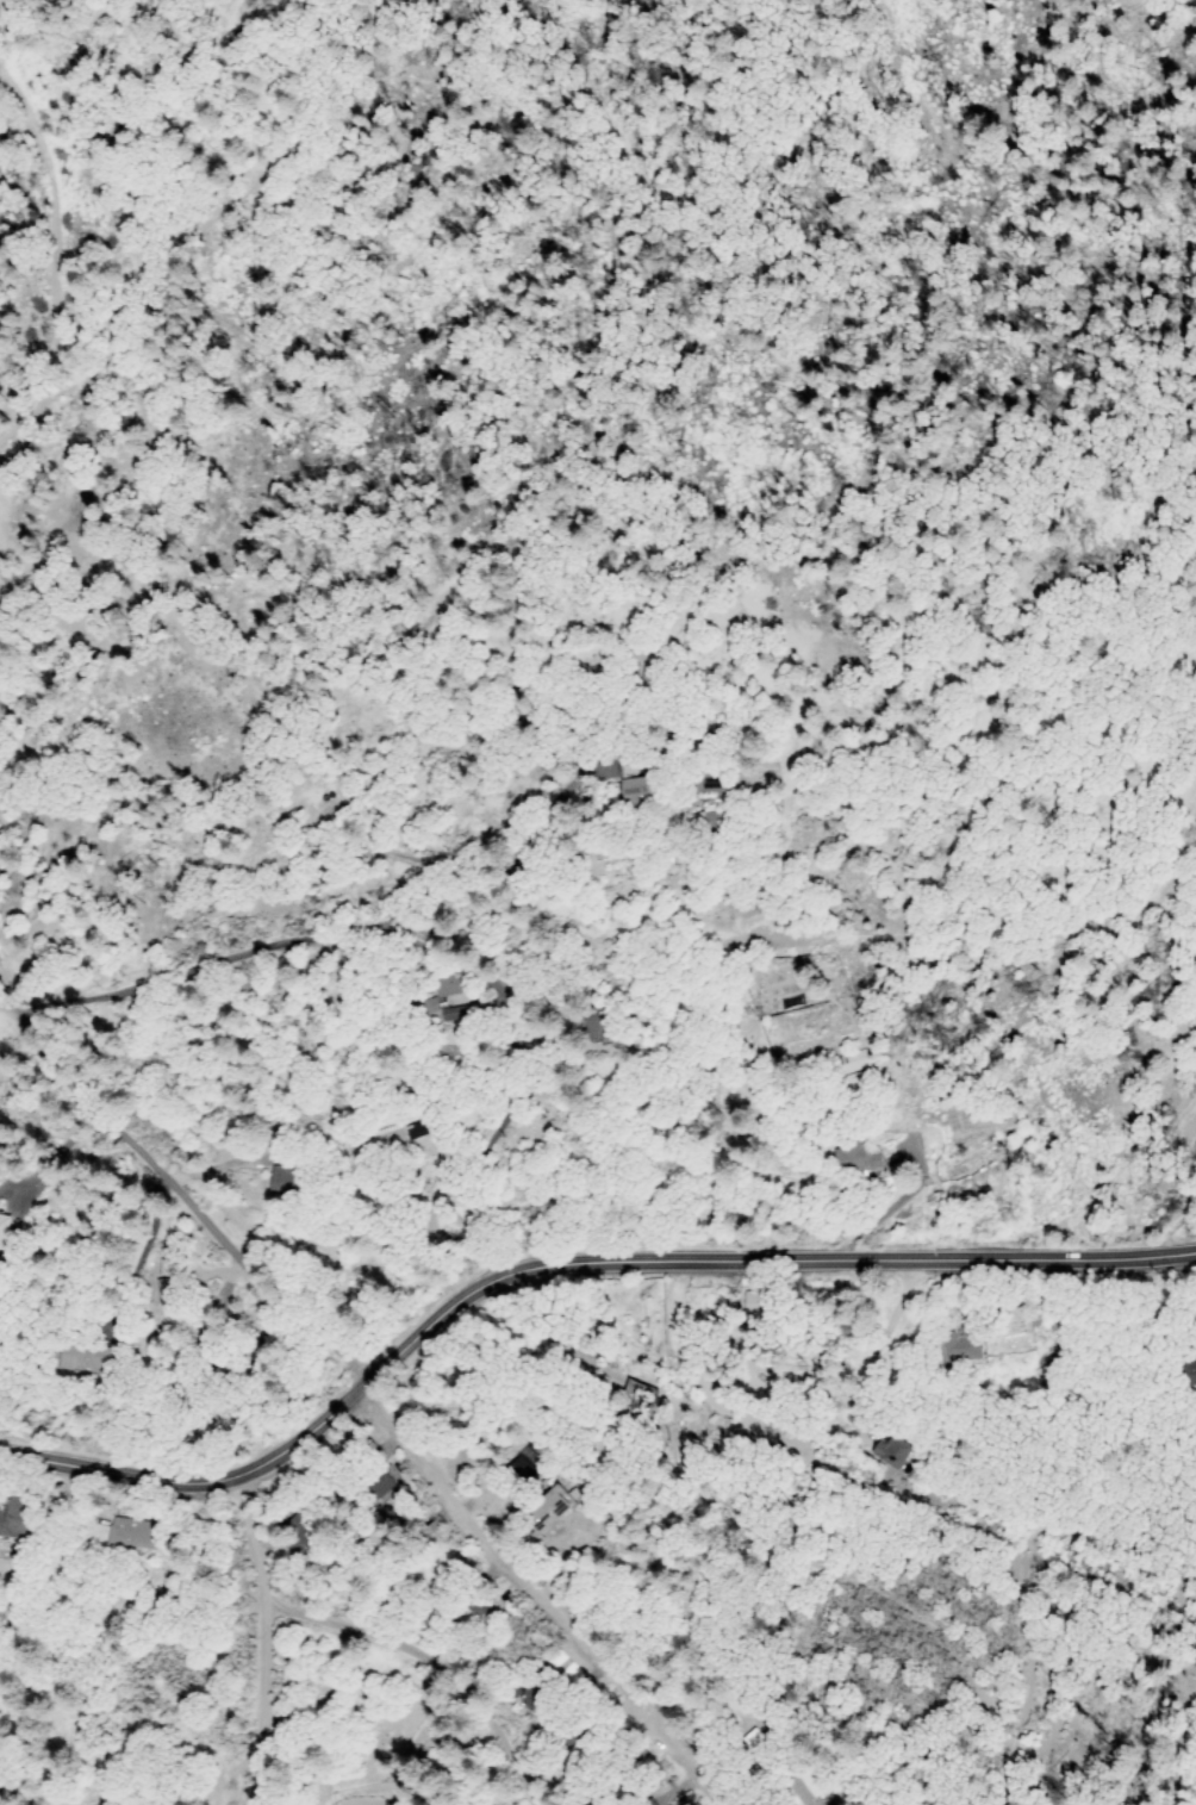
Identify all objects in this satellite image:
road: (36, 259)
building: (643, 780)
building: (708, 820)
road: (220, 960)
road: (6, 1000)
building: (423, 1002)
building: (593, 1023)
building: (852, 1063)
building: (858, 1160)
building: (282, 1183)
building: (2, 1230)
road: (561, 1263)
building: (963, 1342)
road: (873, 1349)
building: (79, 1356)
building: (1188, 1373)
road: (381, 1402)
building: (895, 1452)
building: (529, 1494)
building: (15, 1518)
building: (293, 1532)
building: (133, 1535)
road: (262, 1638)
road: (431, 1660)
building: (750, 1743)
building: (647, 1803)

